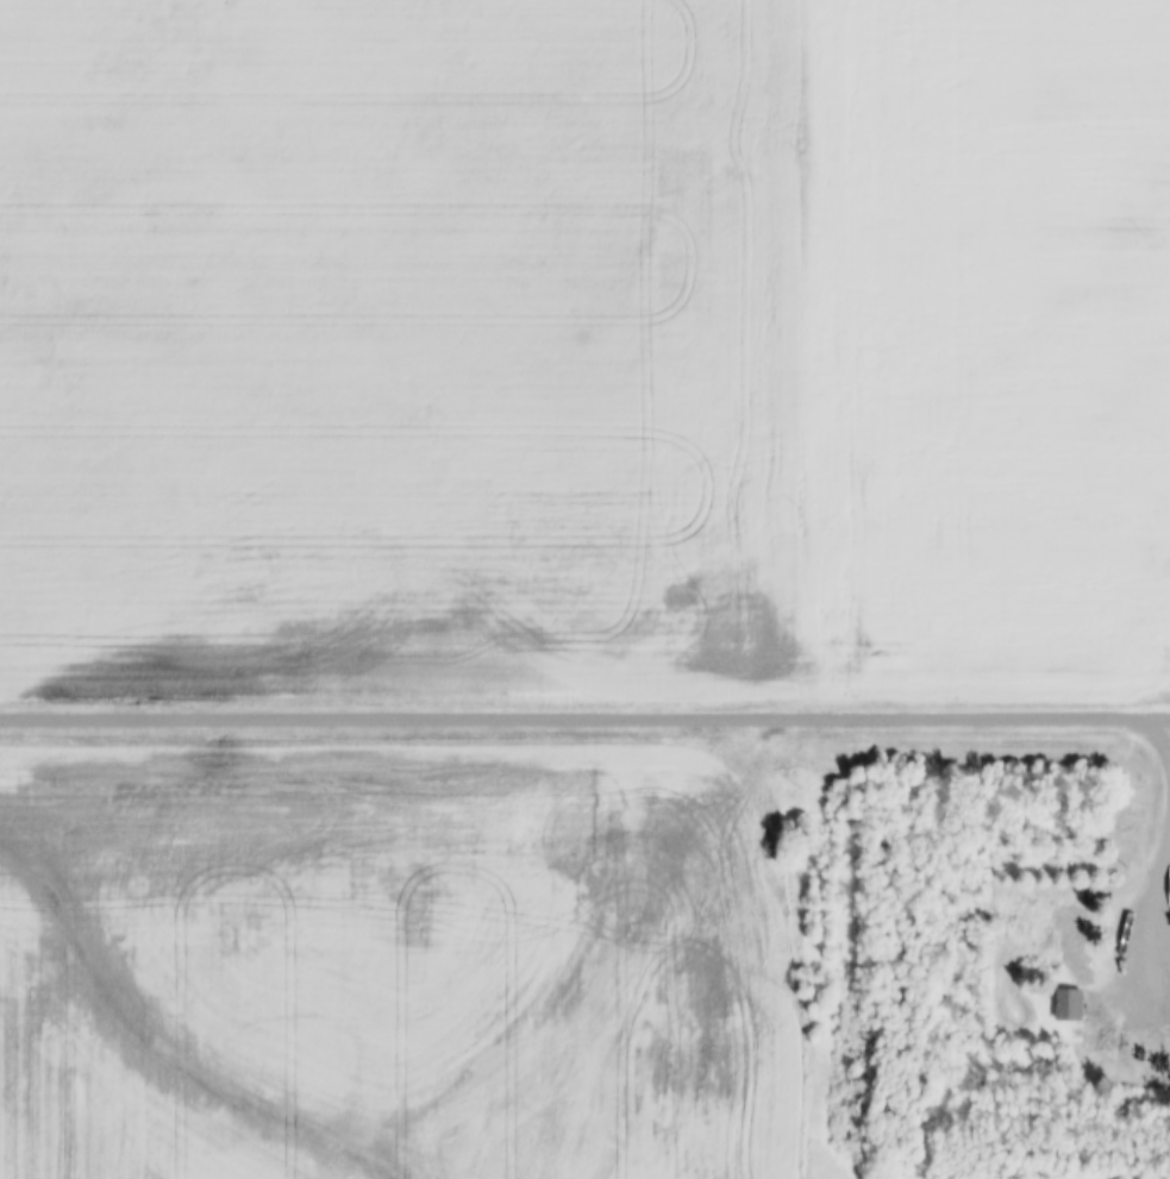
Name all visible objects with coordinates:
road: (1164, 715)
road: (578, 717)
road: (1165, 815)
building: (1070, 933)
building: (1069, 1005)
building: (1138, 1043)
silo: (1138, 1043)
building: (1158, 1045)
silo: (1158, 1045)

